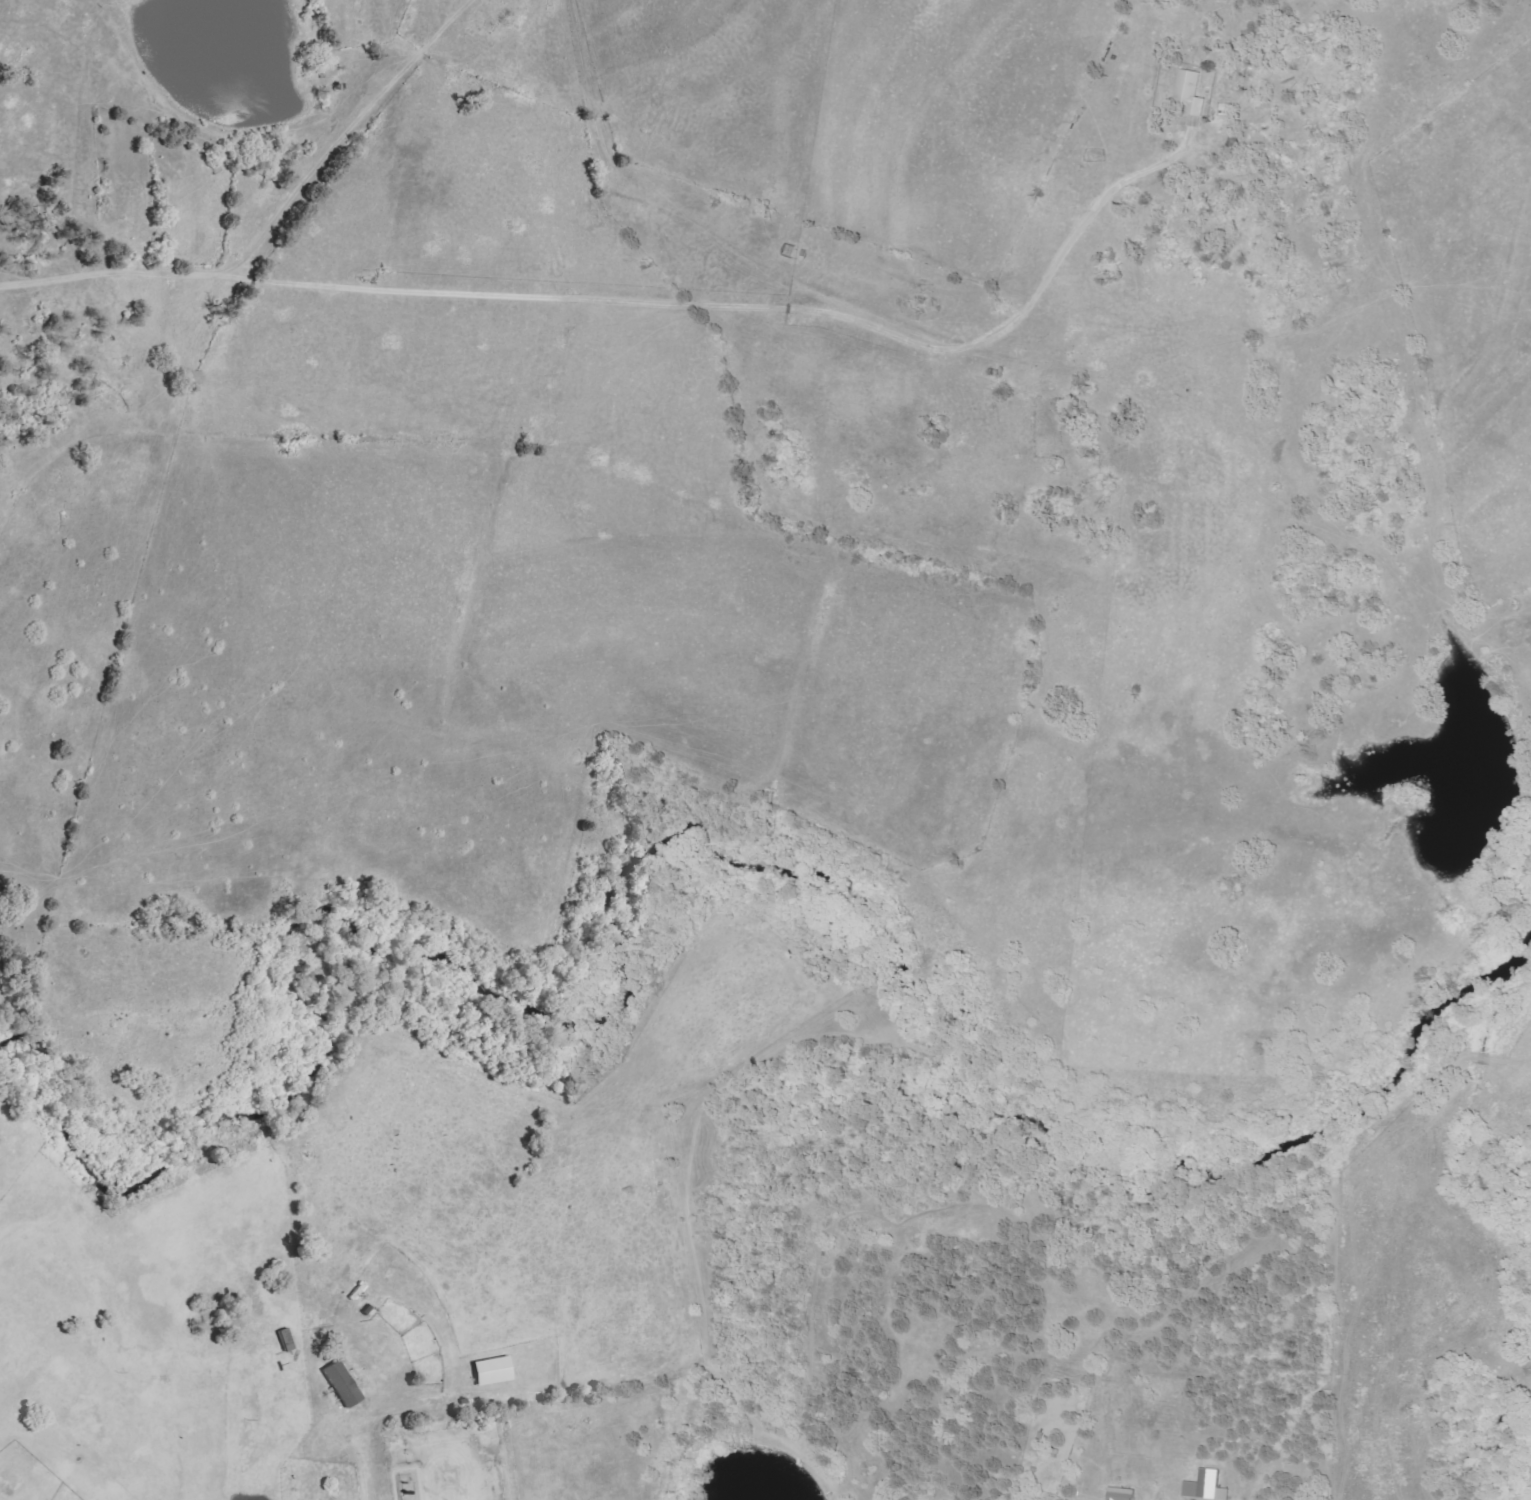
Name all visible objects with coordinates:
building: (1191, 92)
road: (244, 256)
road: (686, 308)
building: (494, 1370)
building: (343, 1384)
road: (361, 1468)
building: (1208, 1487)
building: (1124, 1494)

